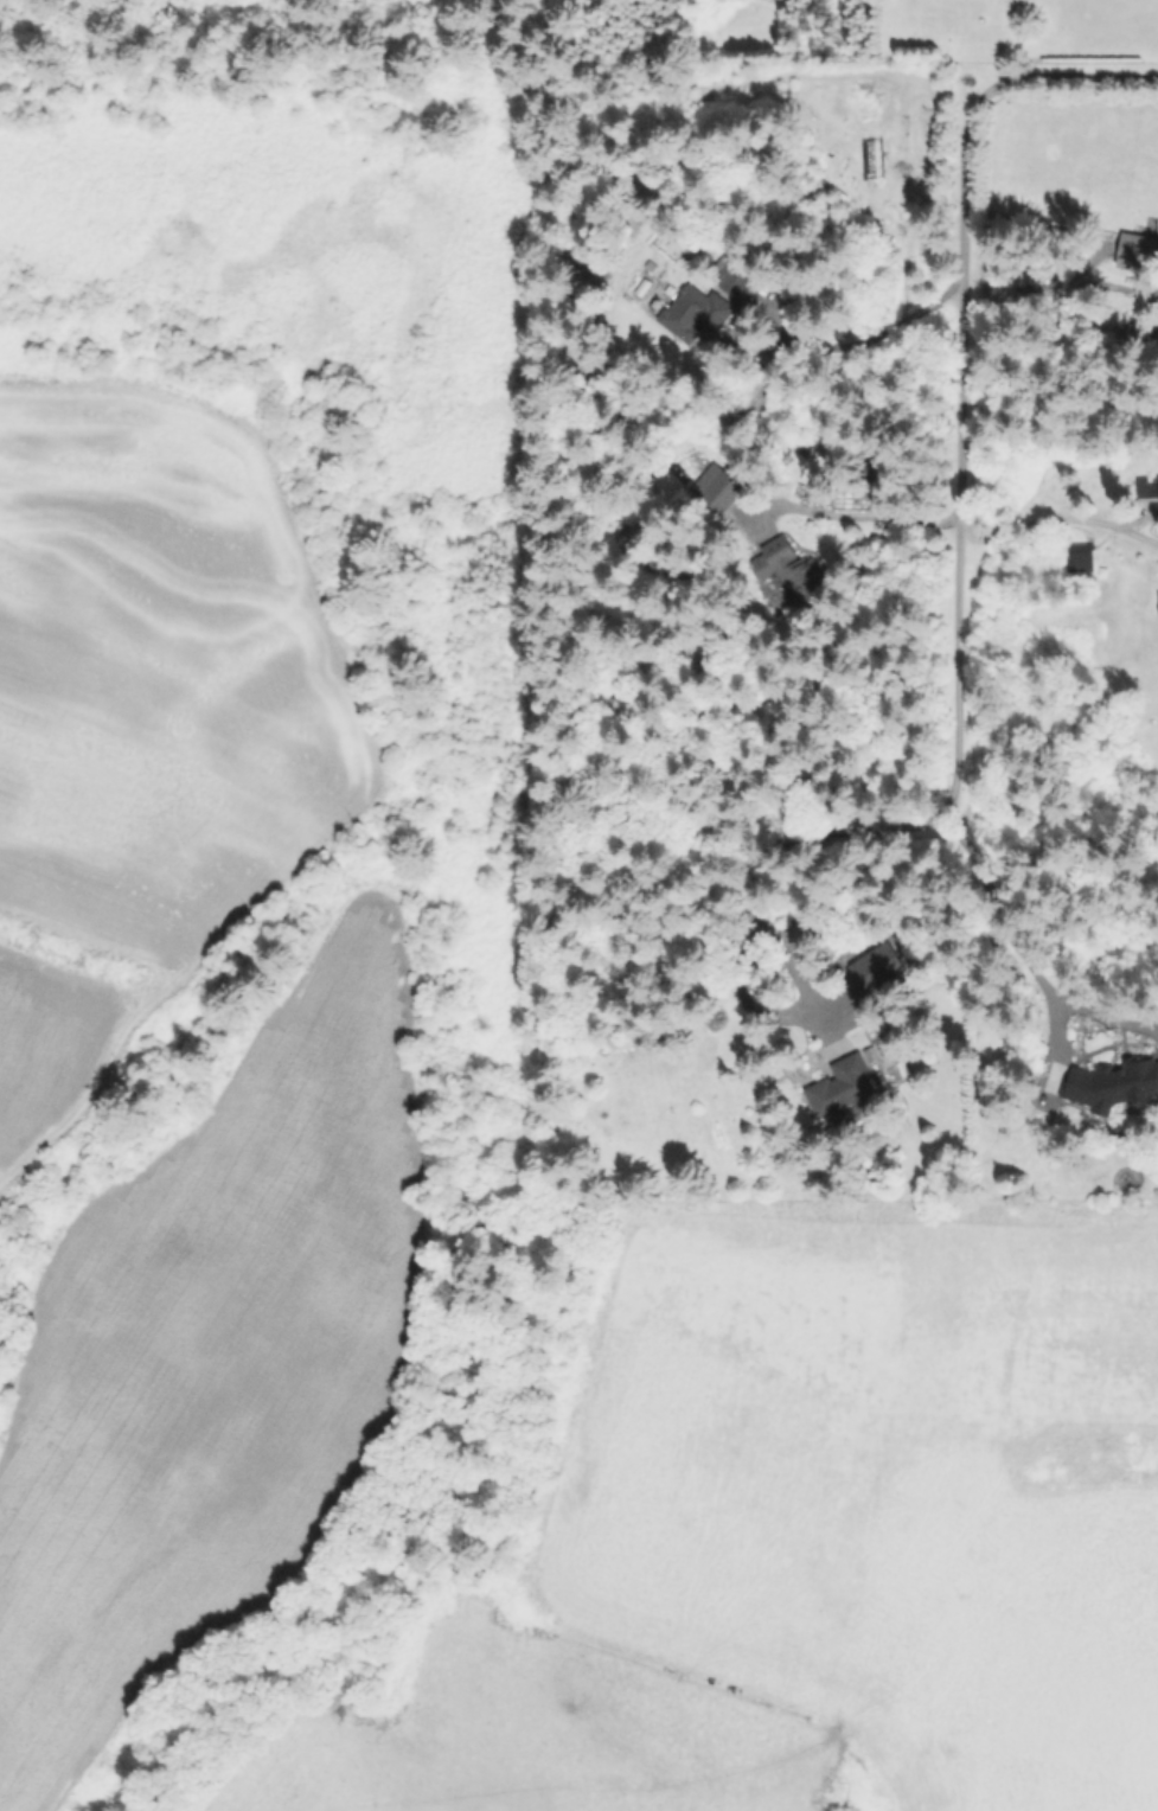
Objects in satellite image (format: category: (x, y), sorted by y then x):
road: (1087, 79)
building: (1137, 251)
building: (729, 275)
building: (663, 289)
building: (692, 312)
building: (1151, 487)
building: (714, 488)
road: (1140, 517)
road: (1041, 518)
road: (864, 519)
road: (1140, 535)
road: (958, 539)
building: (786, 569)
building: (1157, 595)
road: (1003, 930)
building: (874, 965)
building: (1109, 1083)
building: (838, 1087)

